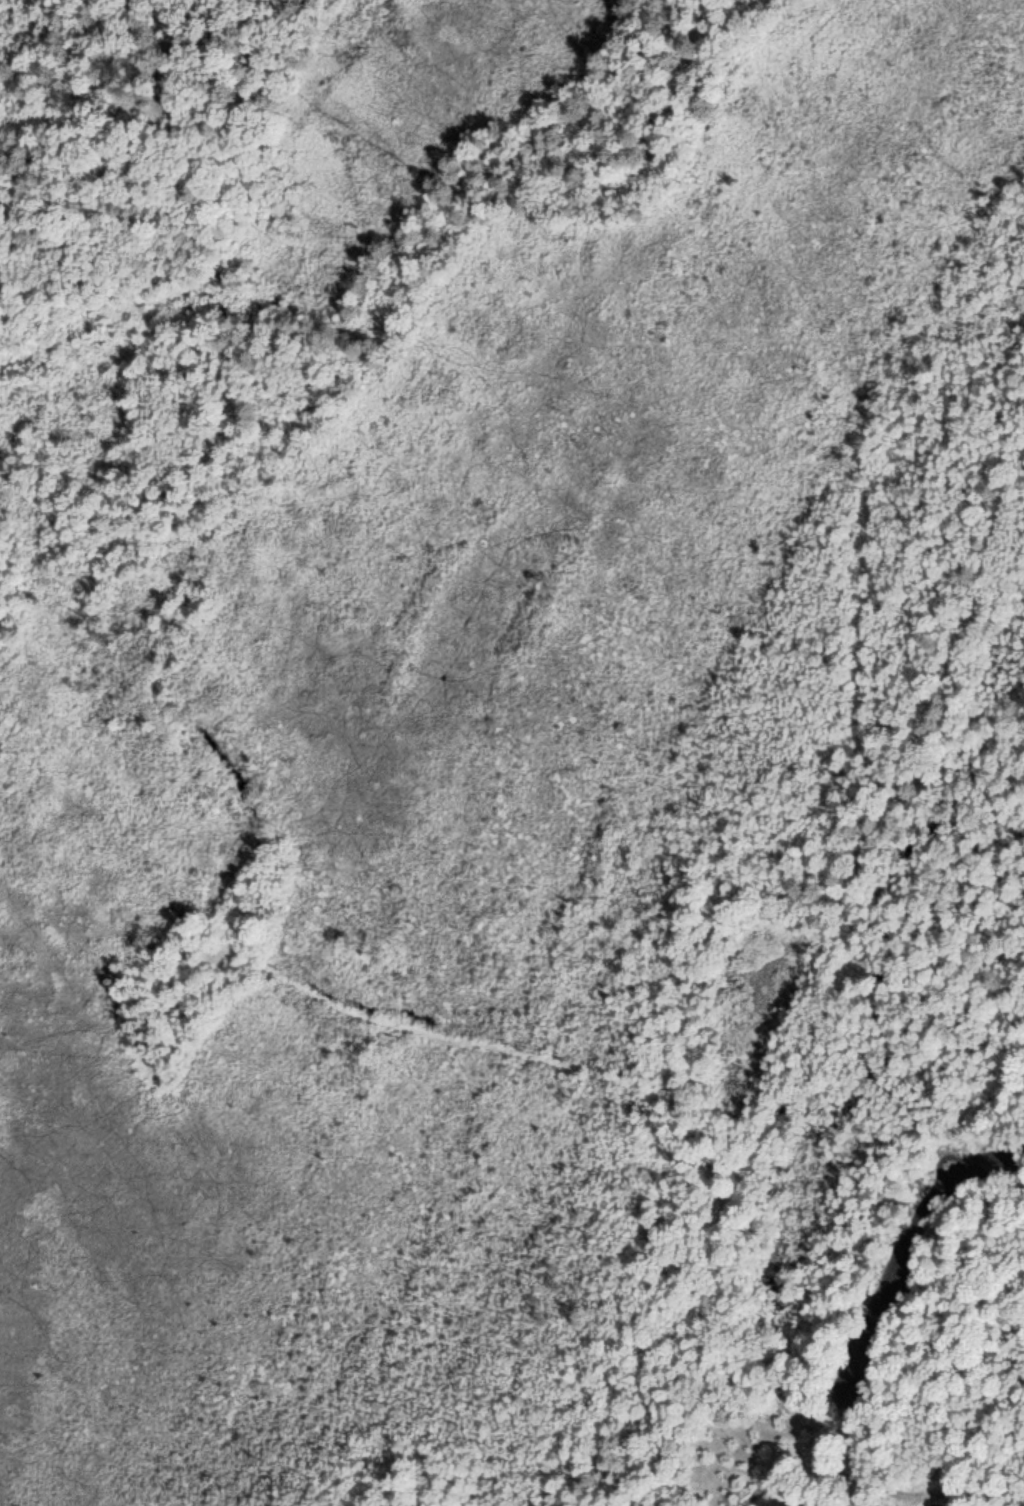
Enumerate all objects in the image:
road: (964, 1472)

